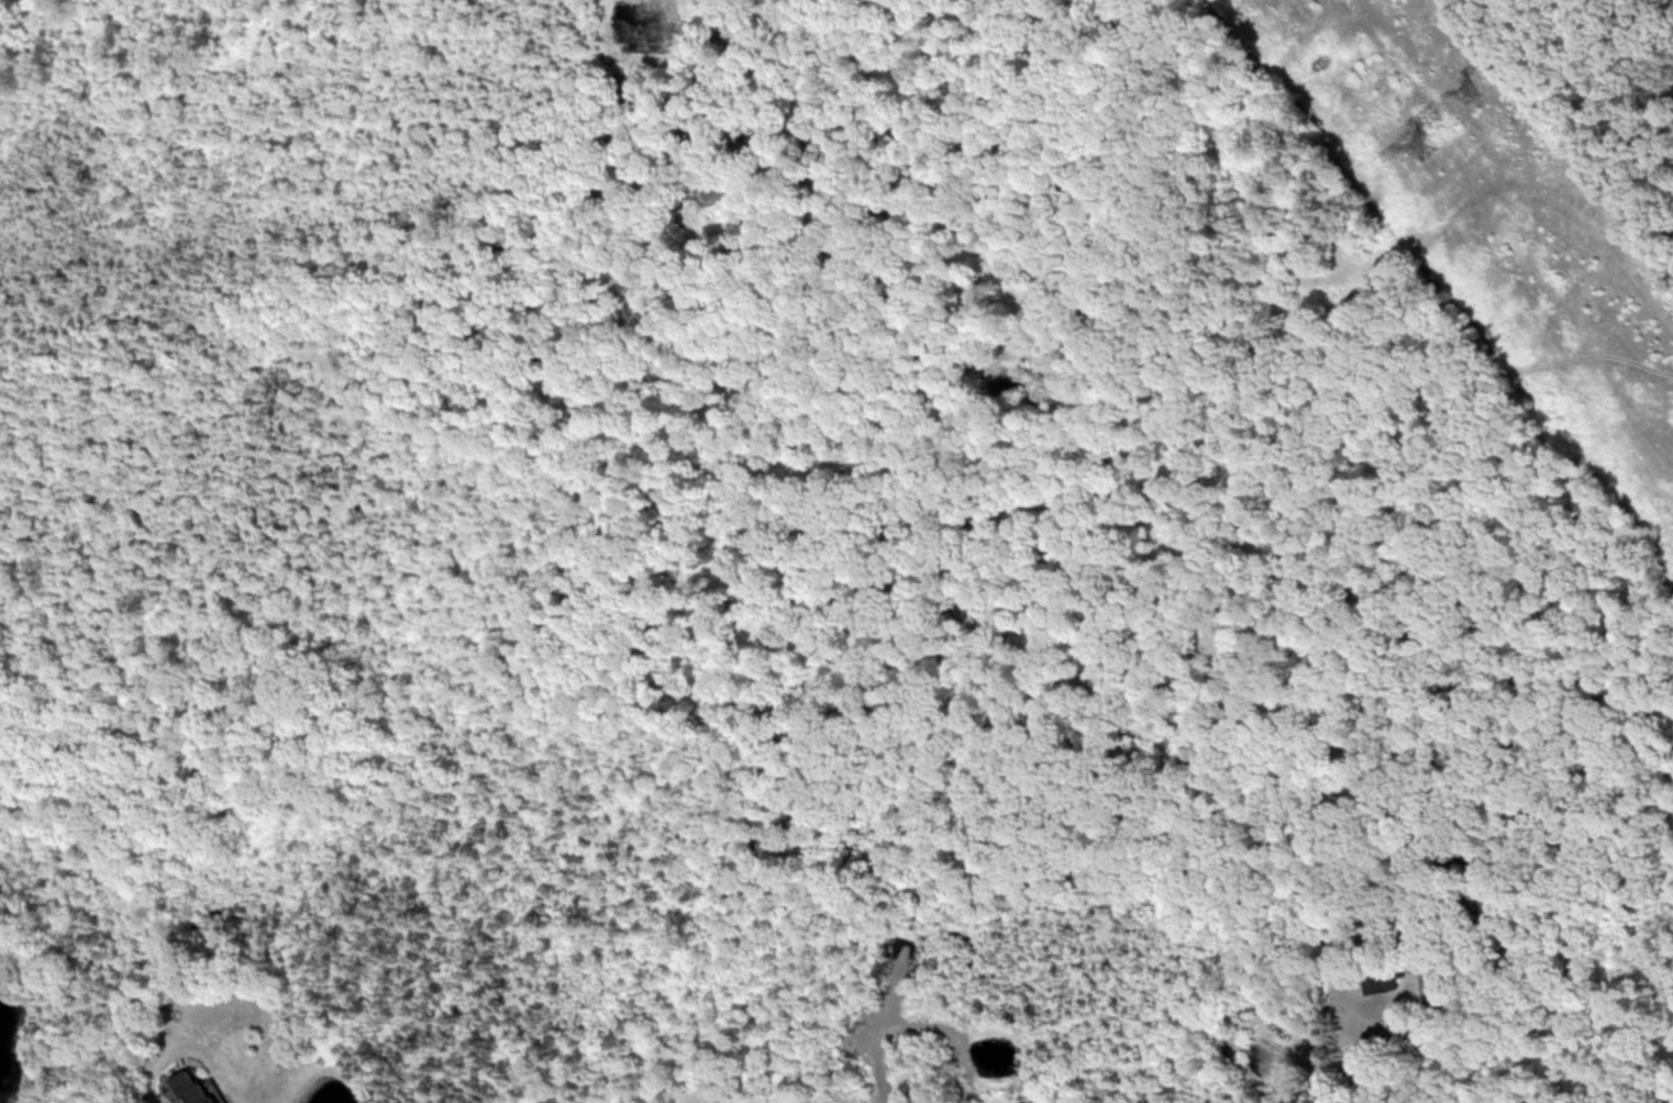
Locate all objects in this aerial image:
power tower: (1467, 90)
power tower: (1423, 144)
building: (1463, 781)
building: (1480, 869)
building: (1507, 920)
building: (1521, 949)
building: (1383, 980)
building: (192, 1087)
road: (148, 1102)

